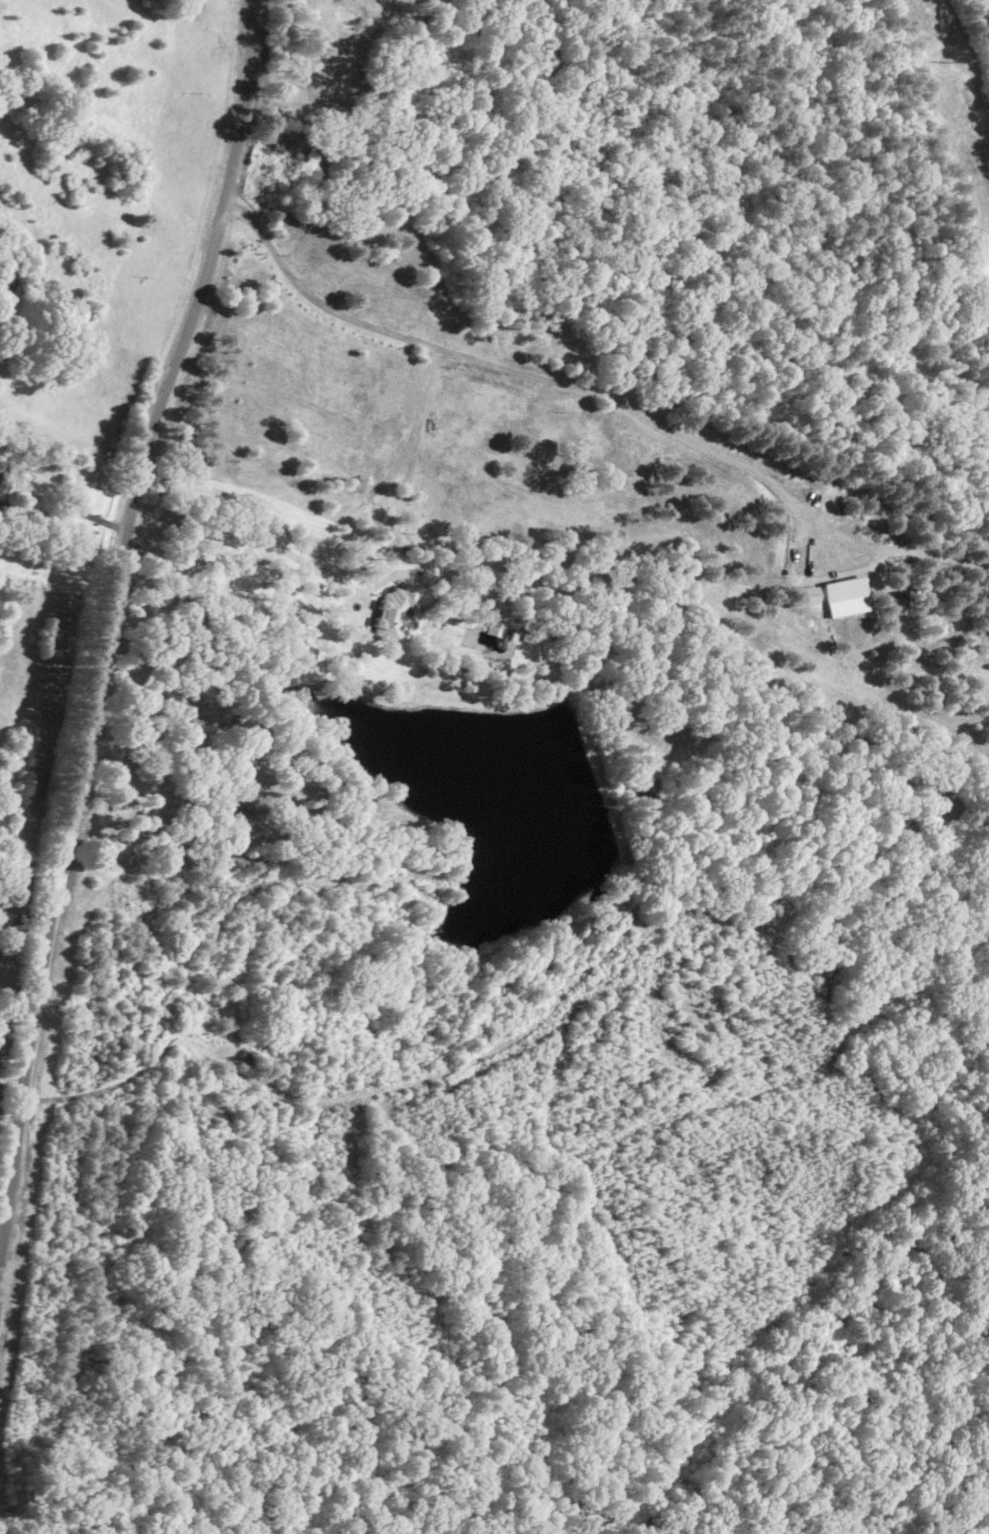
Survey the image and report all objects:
road: (508, 367)
road: (65, 511)
building: (809, 593)
building: (845, 595)
building: (394, 610)
road: (107, 625)
building: (491, 627)
road: (114, 1084)

